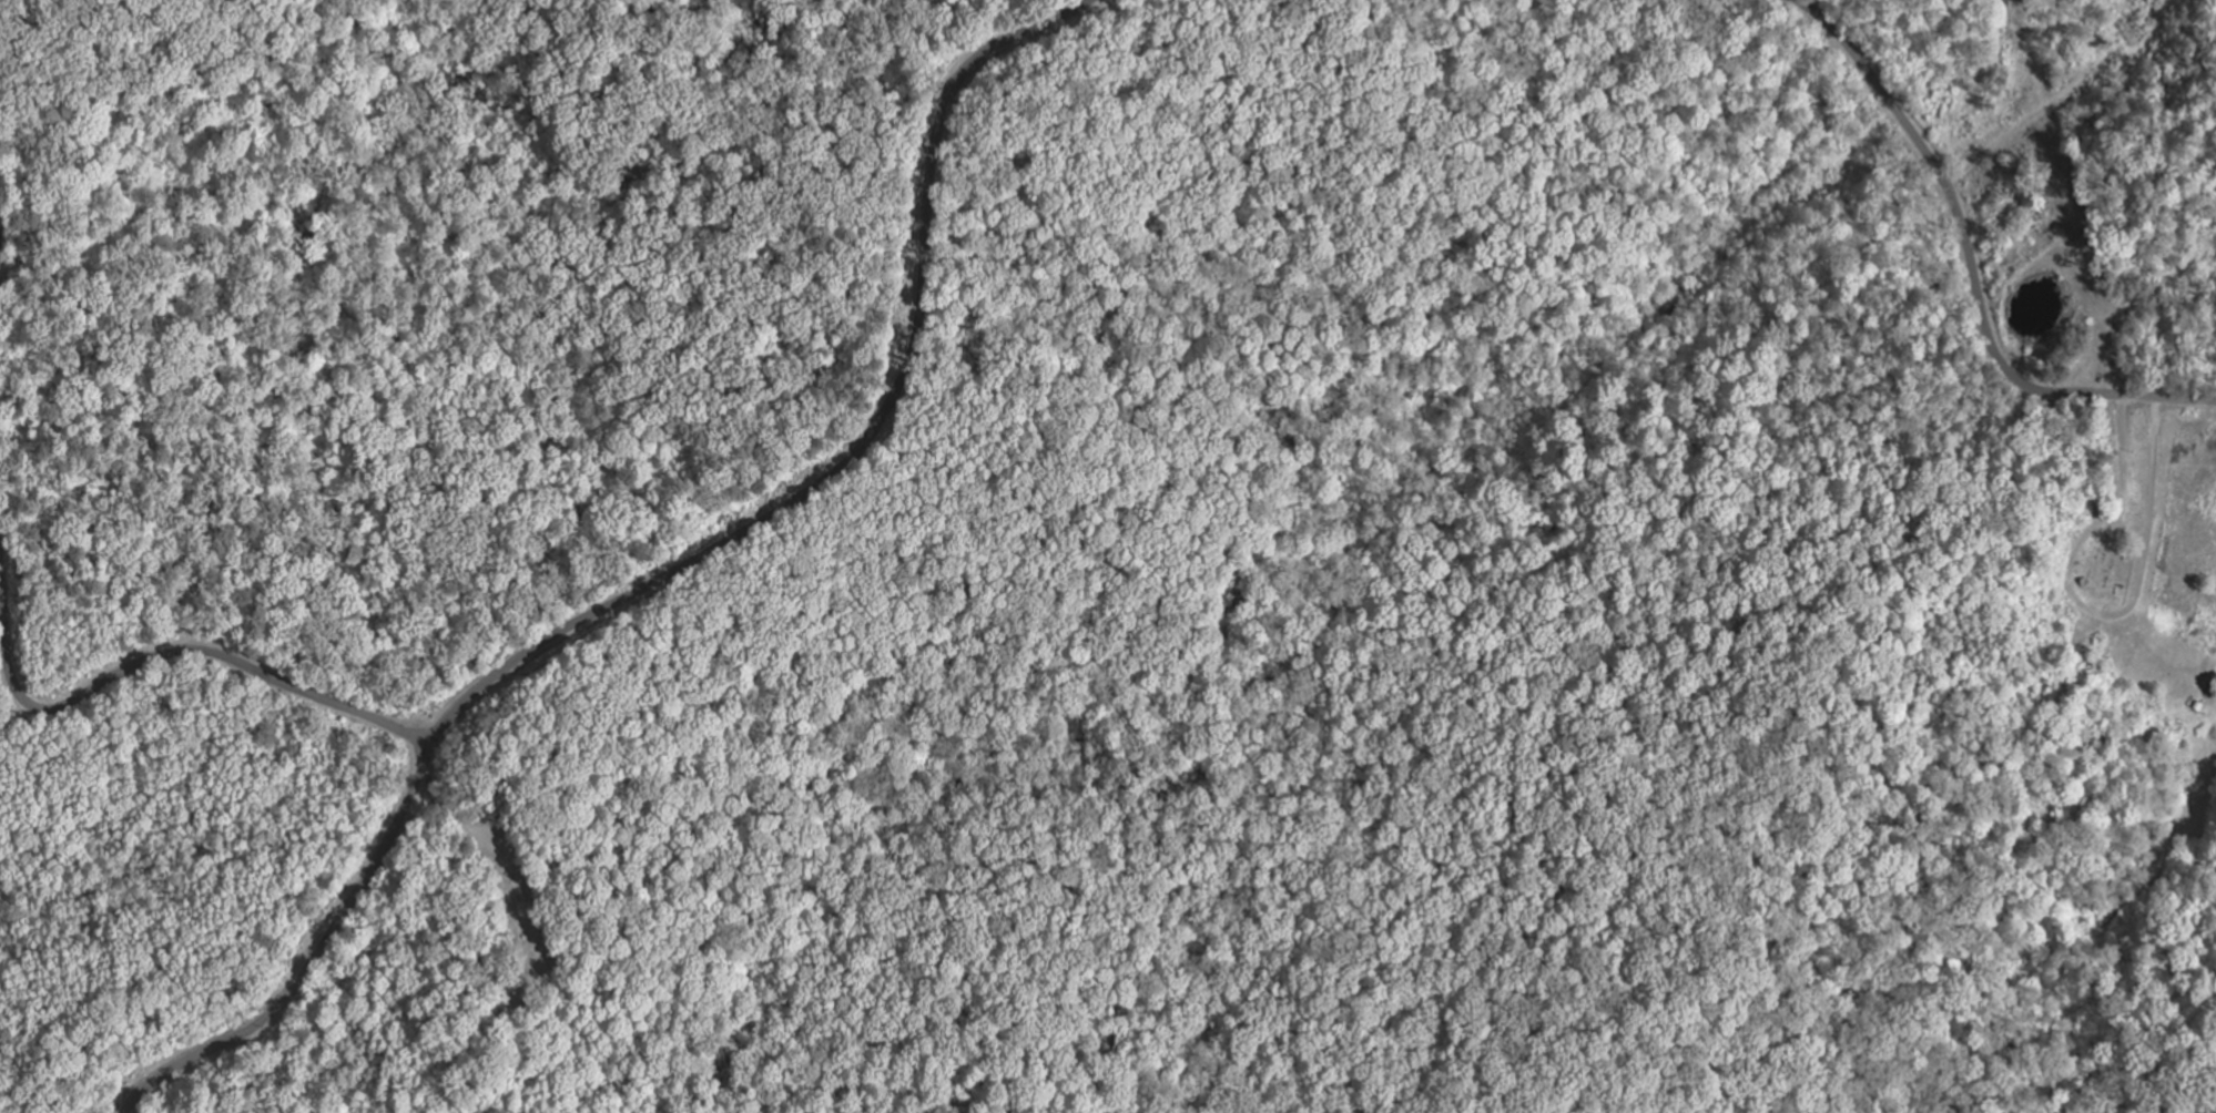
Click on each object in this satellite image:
road: (1972, 266)
road: (868, 441)
road: (165, 653)
road: (408, 674)
park: (519, 952)
road: (314, 962)

